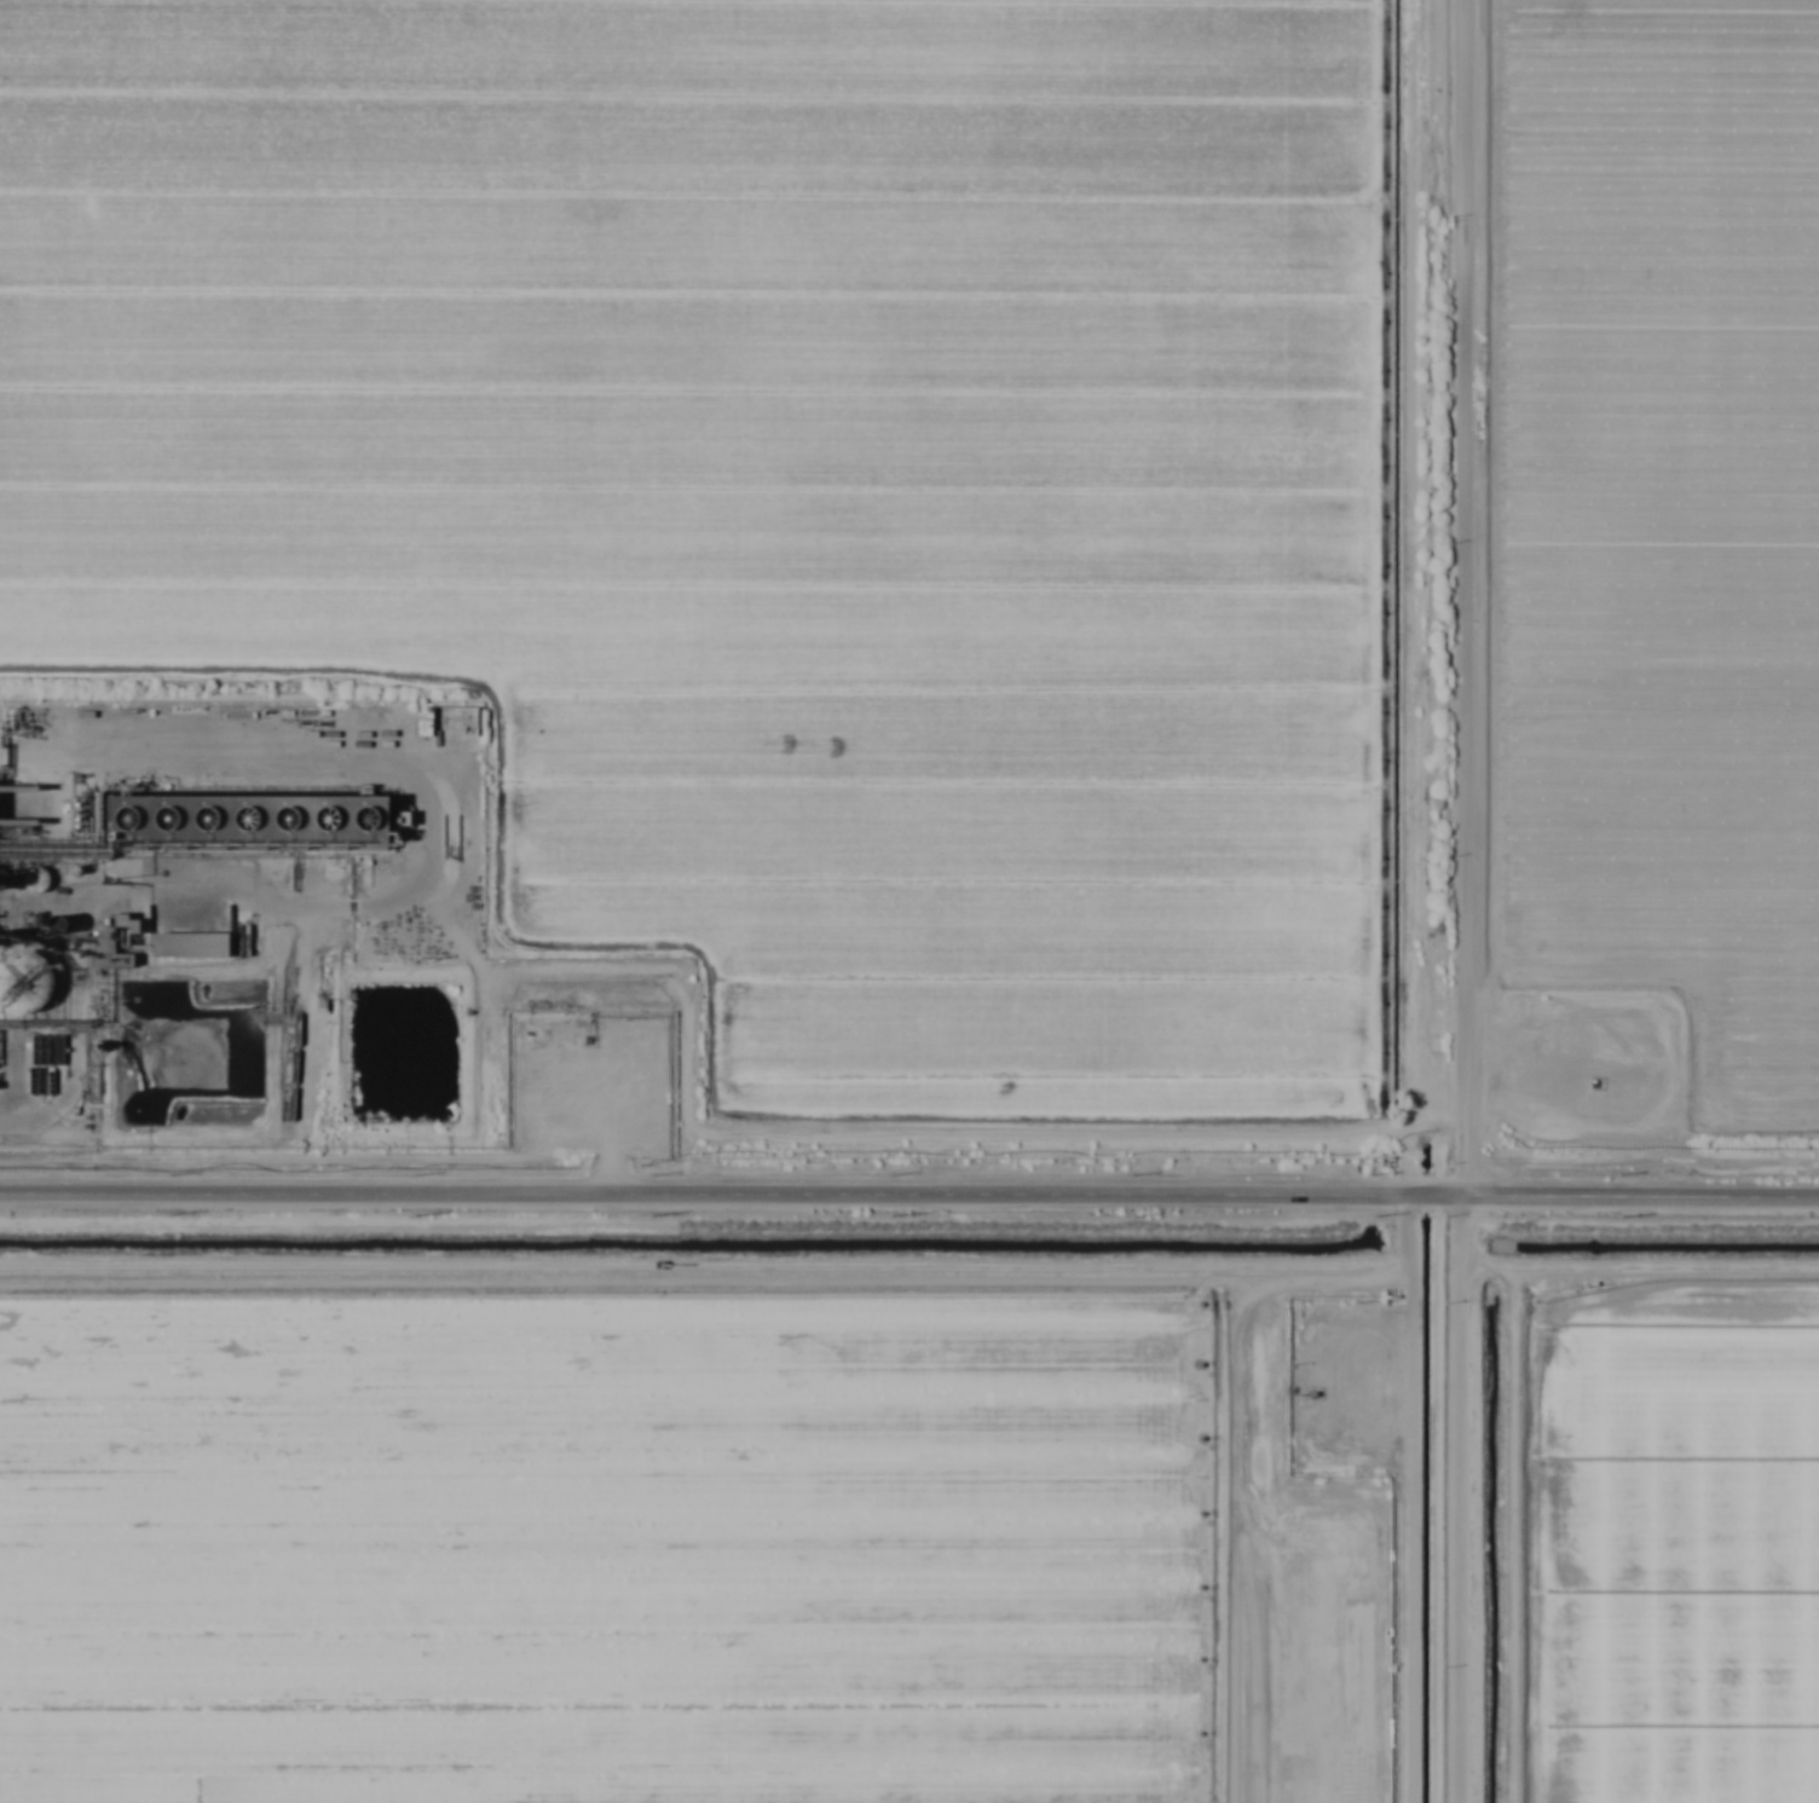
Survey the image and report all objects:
road: (1414, 596)
road: (389, 898)
road: (909, 1192)
road: (1407, 1498)

